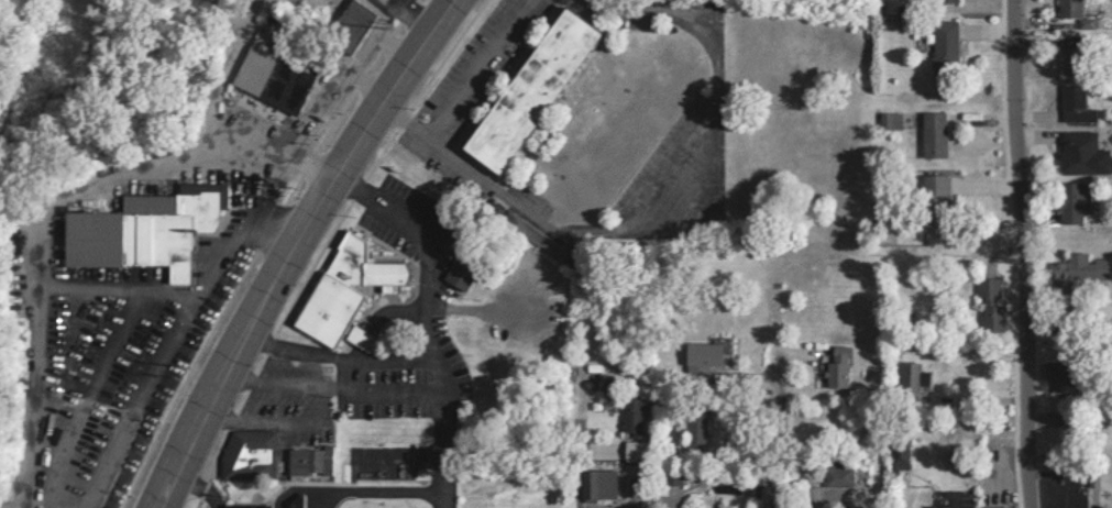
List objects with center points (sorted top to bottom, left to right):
building: (943, 0)
building: (1066, 8)
road: (404, 15)
building: (345, 25)
building: (942, 47)
building: (1068, 59)
road: (224, 63)
road: (478, 69)
building: (247, 70)
building: (522, 89)
road: (321, 91)
building: (1072, 104)
building: (887, 120)
building: (931, 134)
road: (273, 151)
building: (1078, 153)
road: (639, 192)
building: (1070, 201)
building: (932, 202)
road: (250, 224)
building: (140, 230)
road: (431, 239)
building: (535, 241)
road: (288, 246)
road: (1016, 253)
road: (213, 256)
building: (1067, 267)
building: (456, 270)
building: (340, 291)
road: (80, 294)
building: (988, 305)
road: (350, 347)
building: (698, 356)
building: (834, 367)
road: (90, 372)
road: (332, 375)
building: (1057, 375)
building: (911, 382)
road: (255, 408)
road: (122, 409)
road: (777, 417)
building: (628, 418)
building: (693, 428)
road: (444, 444)
building: (245, 448)
road: (396, 454)
building: (895, 456)
building: (305, 462)
building: (835, 473)
building: (595, 485)
building: (285, 499)
road: (672, 503)
building: (242, 506)
building: (934, 507)

